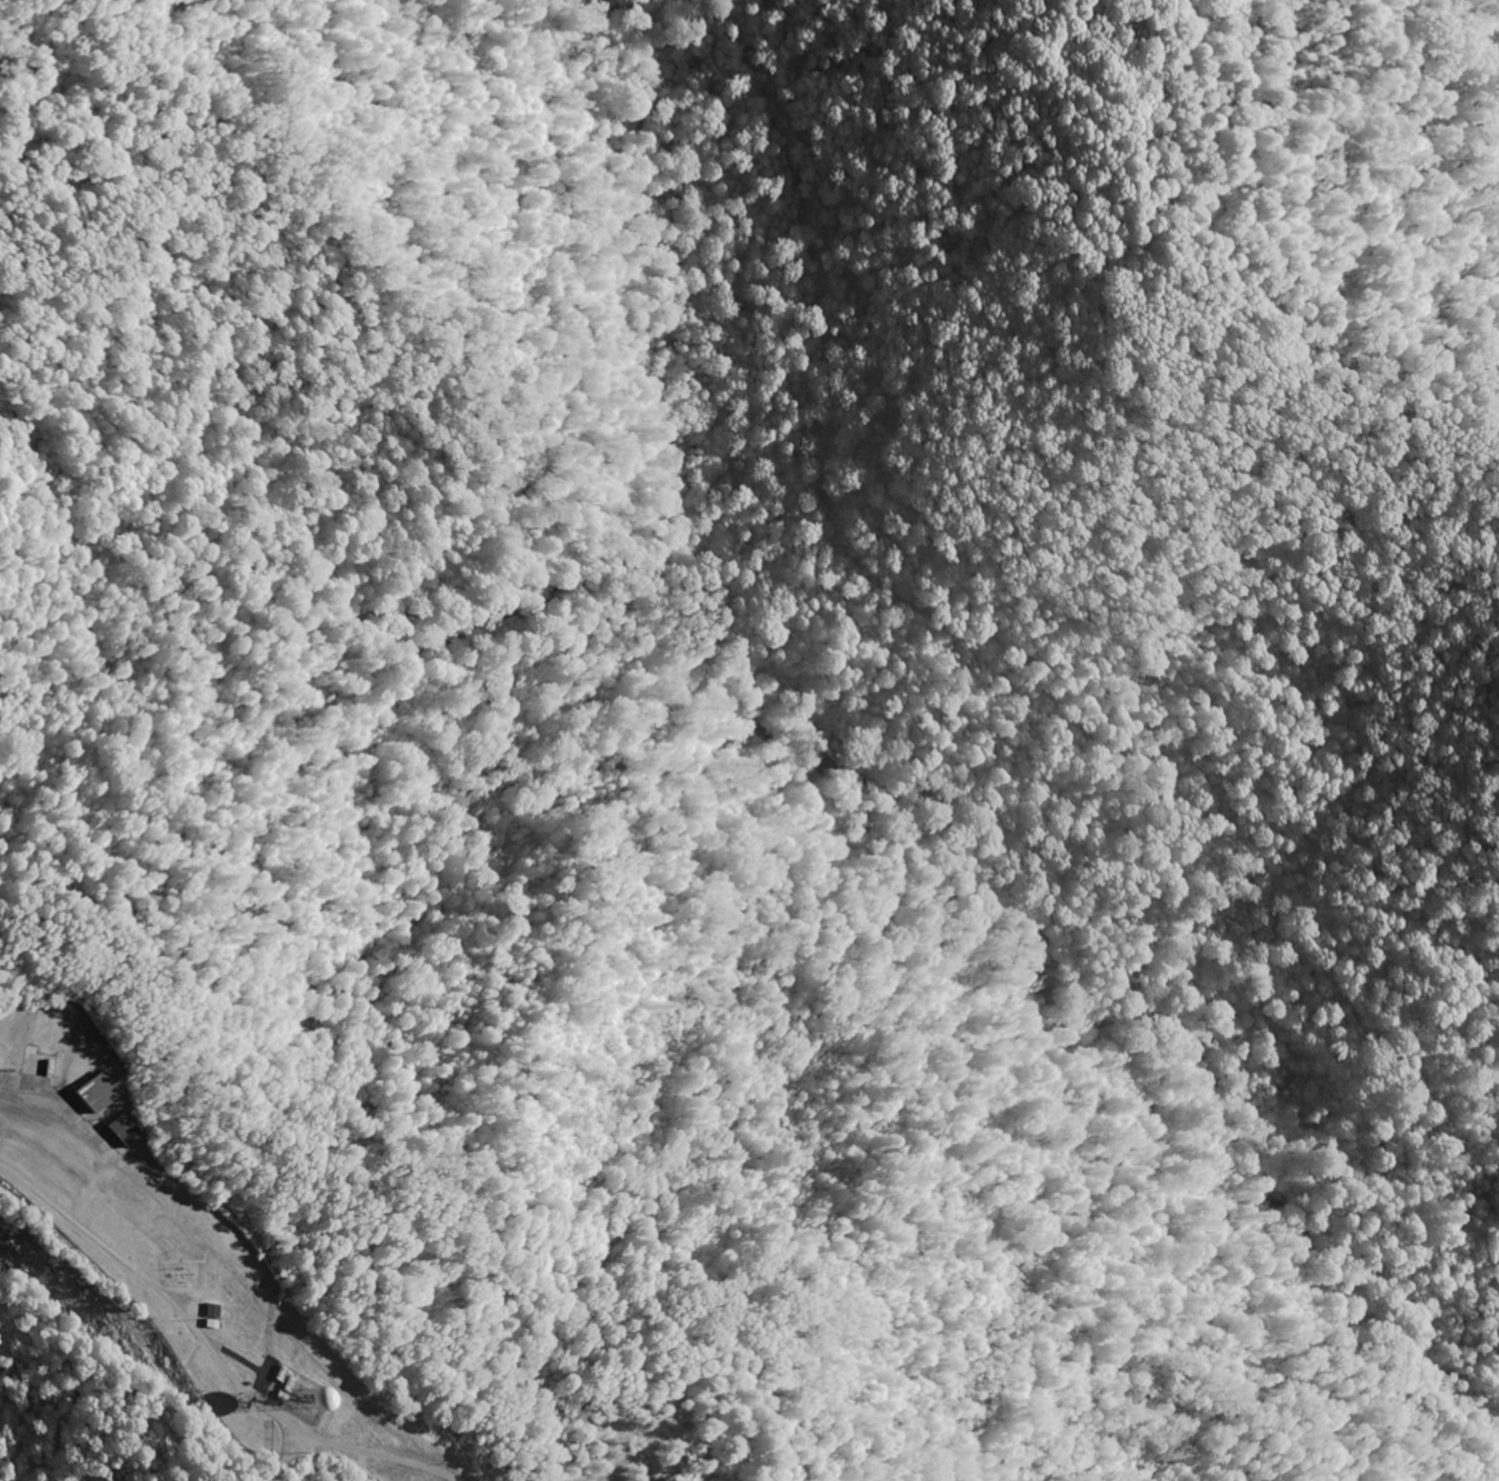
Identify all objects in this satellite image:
building: (6, 1058)
airport: (156, 1235)

